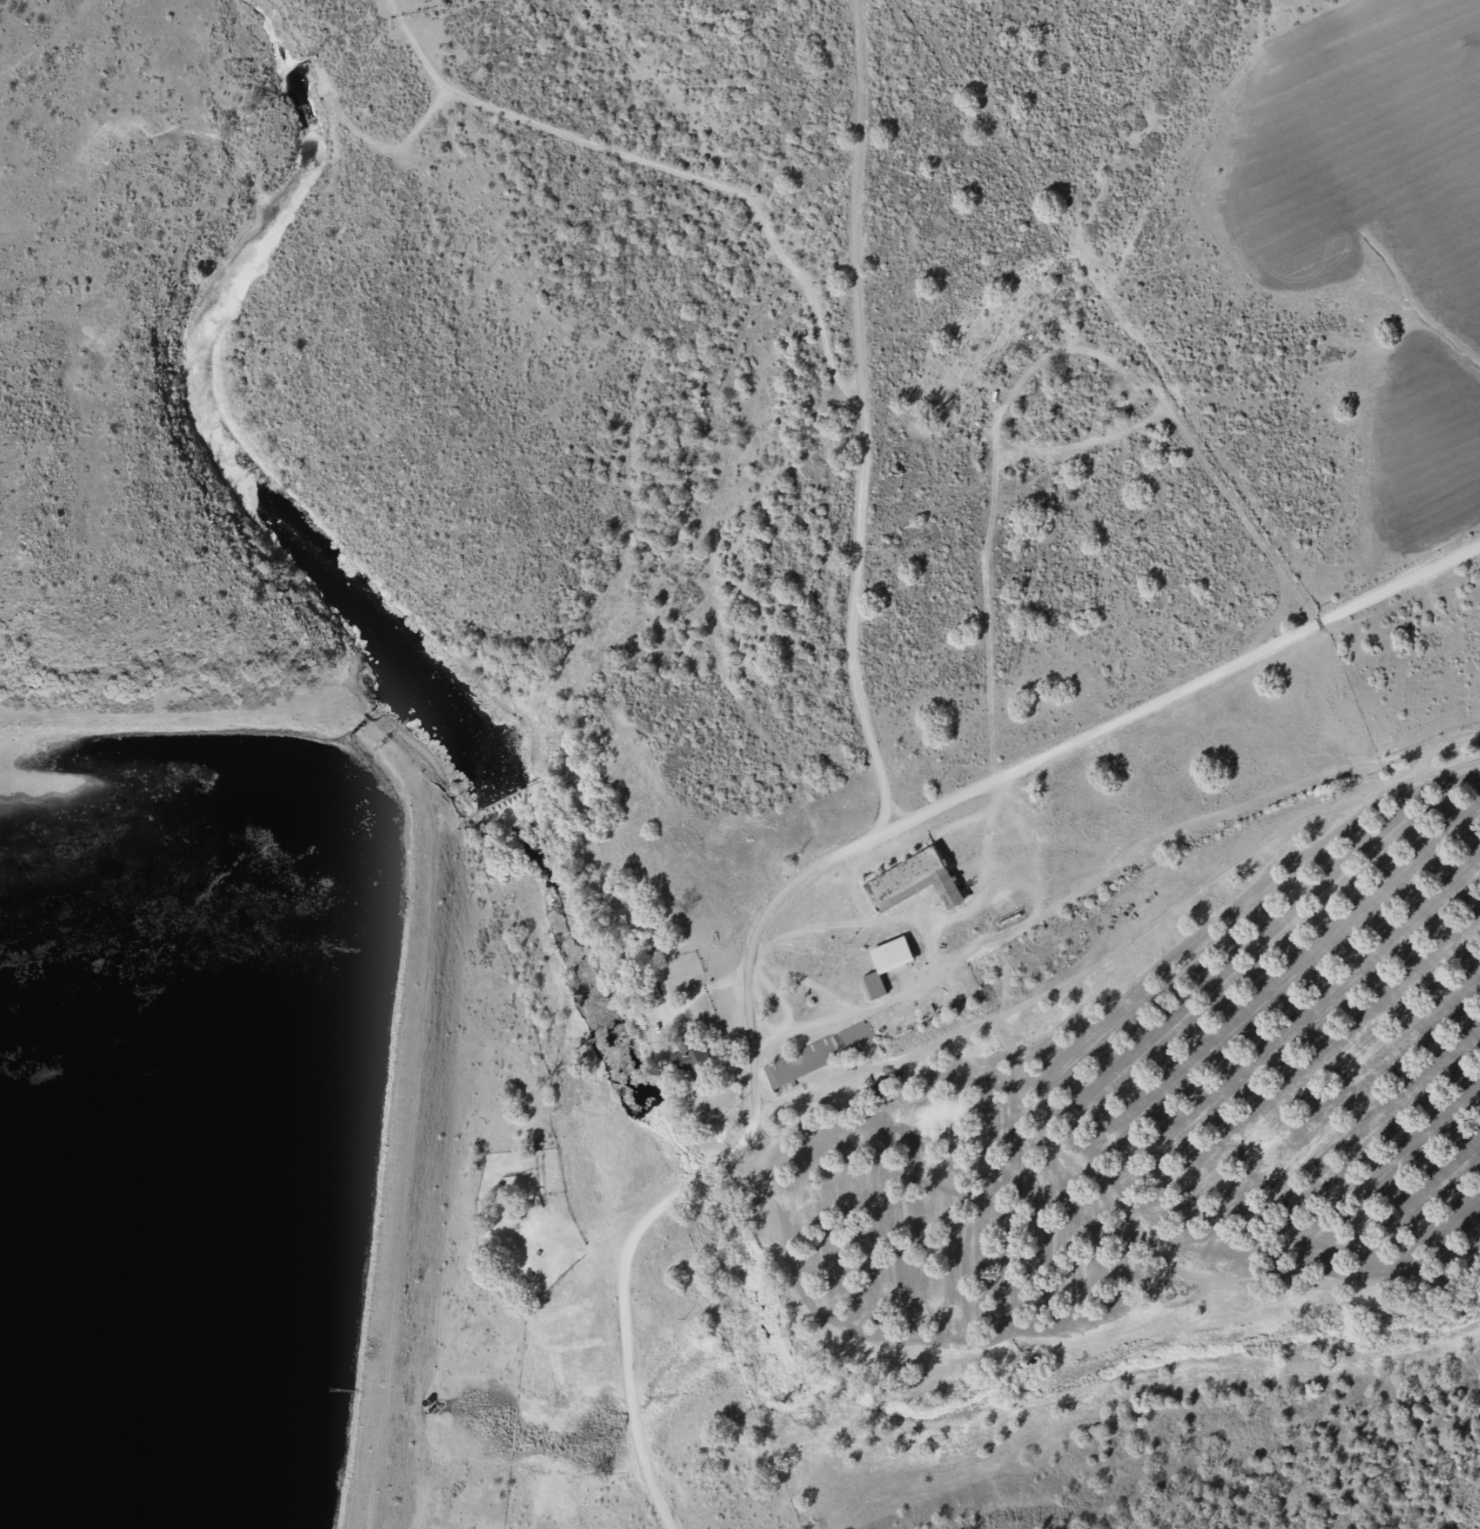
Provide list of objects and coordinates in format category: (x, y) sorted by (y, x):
road: (720, 202)
road: (700, 403)
road: (889, 414)
building: (915, 882)
road: (845, 889)
building: (887, 966)
building: (818, 1056)
building: (694, 1065)

